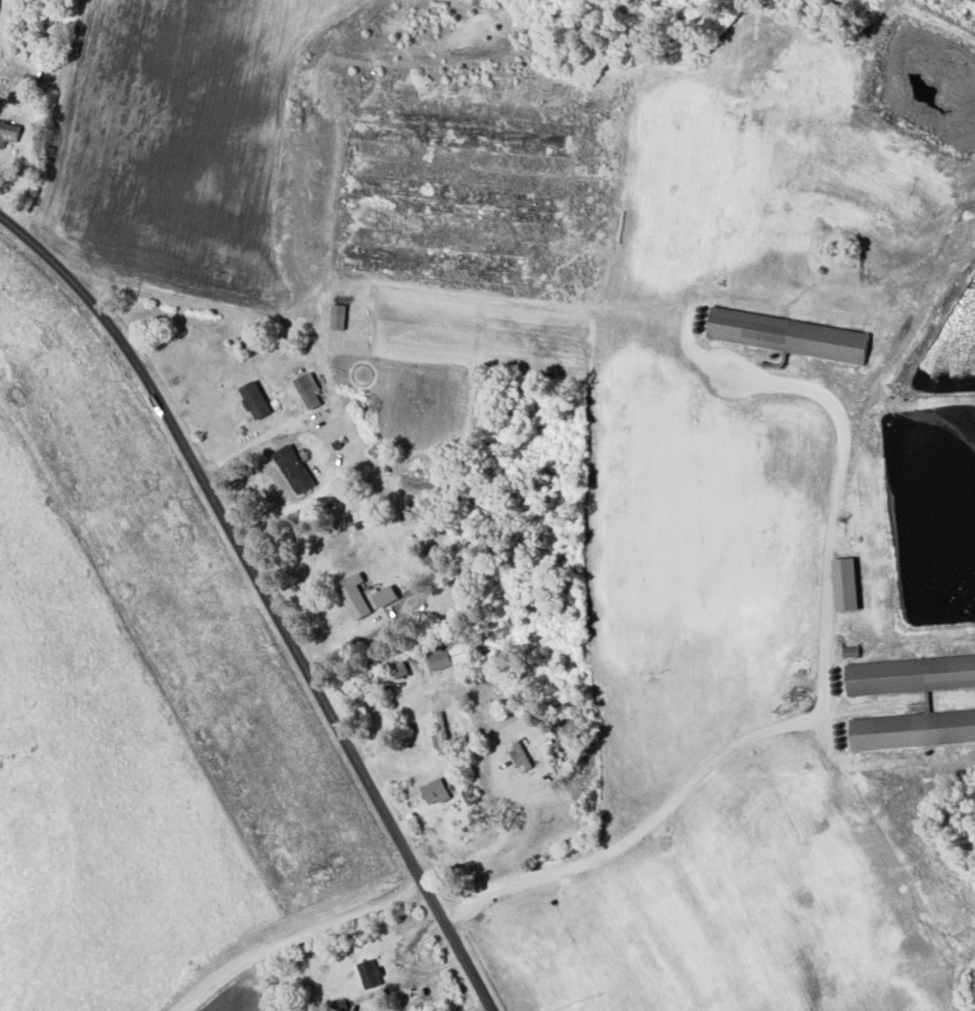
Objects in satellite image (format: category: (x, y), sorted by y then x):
building: (462, 131)
building: (8, 133)
building: (454, 200)
building: (431, 263)
building: (338, 317)
building: (788, 335)
building: (308, 391)
building: (255, 401)
building: (293, 470)
building: (431, 558)
building: (846, 585)
road: (264, 599)
building: (353, 599)
building: (851, 653)
building: (446, 657)
building: (399, 670)
building: (910, 676)
road: (813, 707)
building: (912, 730)
building: (440, 733)
building: (519, 755)
building: (435, 793)
building: (471, 797)
road: (291, 936)
building: (369, 973)

